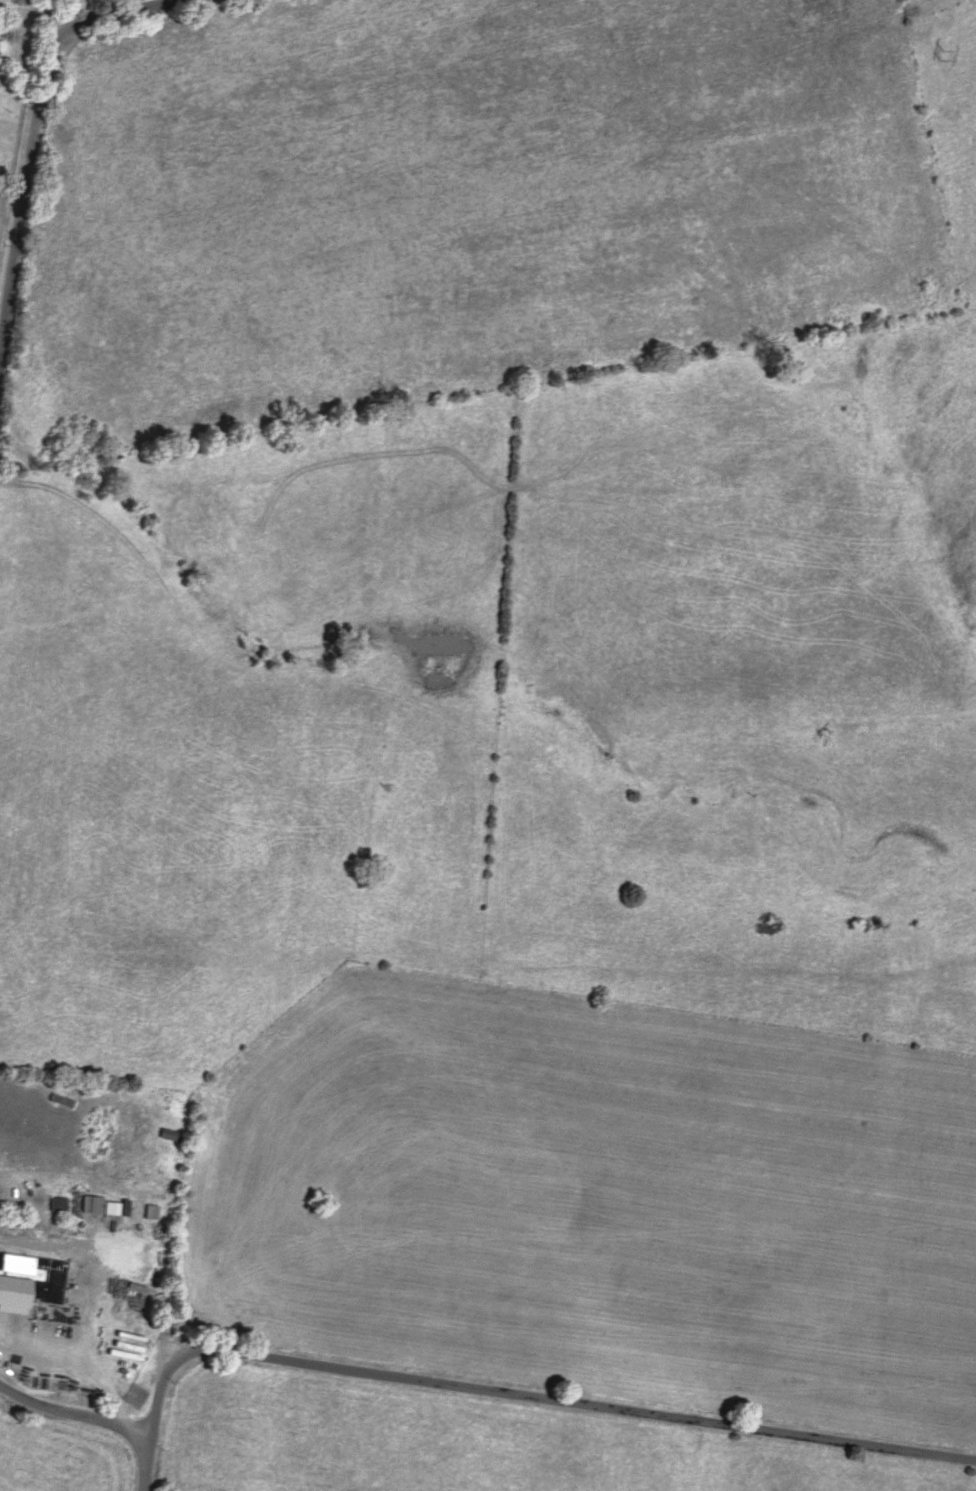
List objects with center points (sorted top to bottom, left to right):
road: (43, 19)
road: (130, 19)
road: (27, 213)
building: (85, 1263)
building: (30, 1279)
building: (136, 1395)
road: (539, 1396)
road: (76, 1414)
road: (152, 1463)

